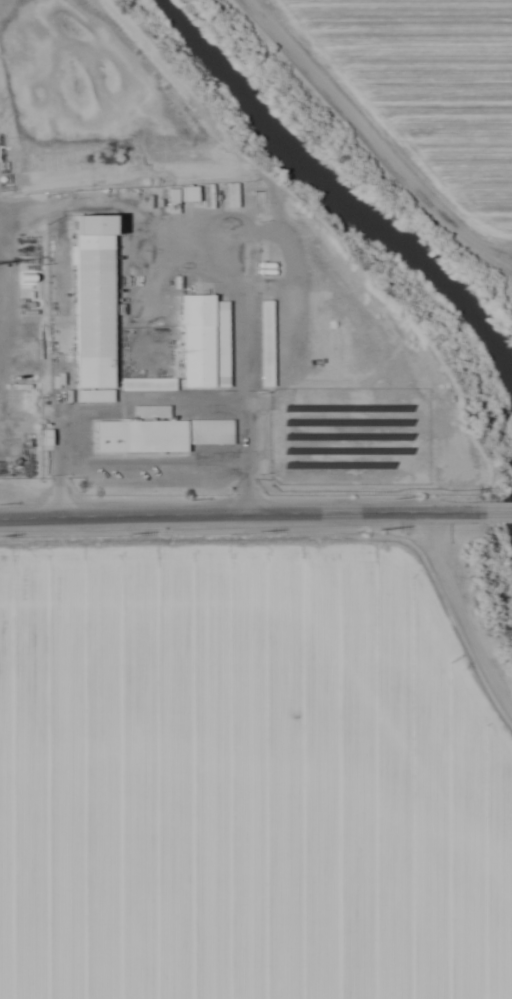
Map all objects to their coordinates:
road: (370, 140)
building: (186, 192)
river: (367, 207)
building: (266, 267)
building: (91, 301)
building: (203, 341)
building: (265, 343)
building: (147, 383)
building: (158, 434)
road: (497, 511)
road: (241, 512)
road: (460, 614)

